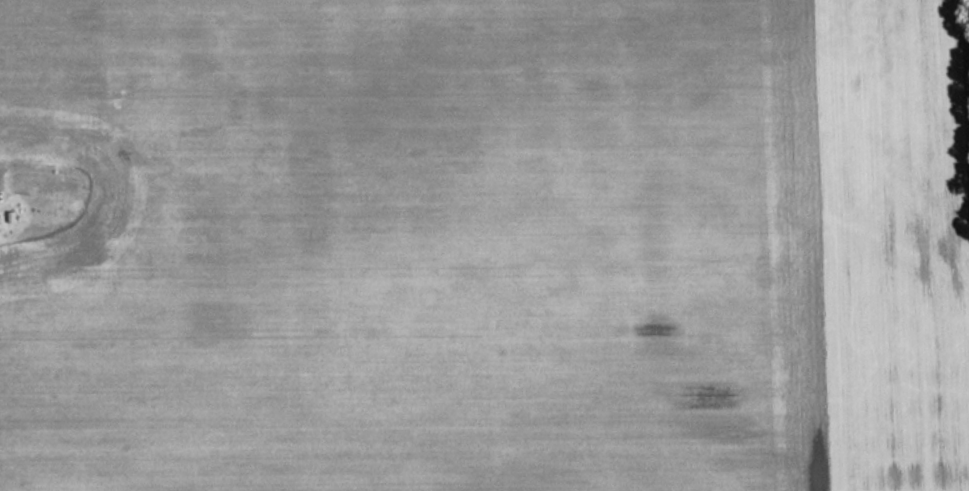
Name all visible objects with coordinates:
crop: (893, 243)
crop: (401, 247)

